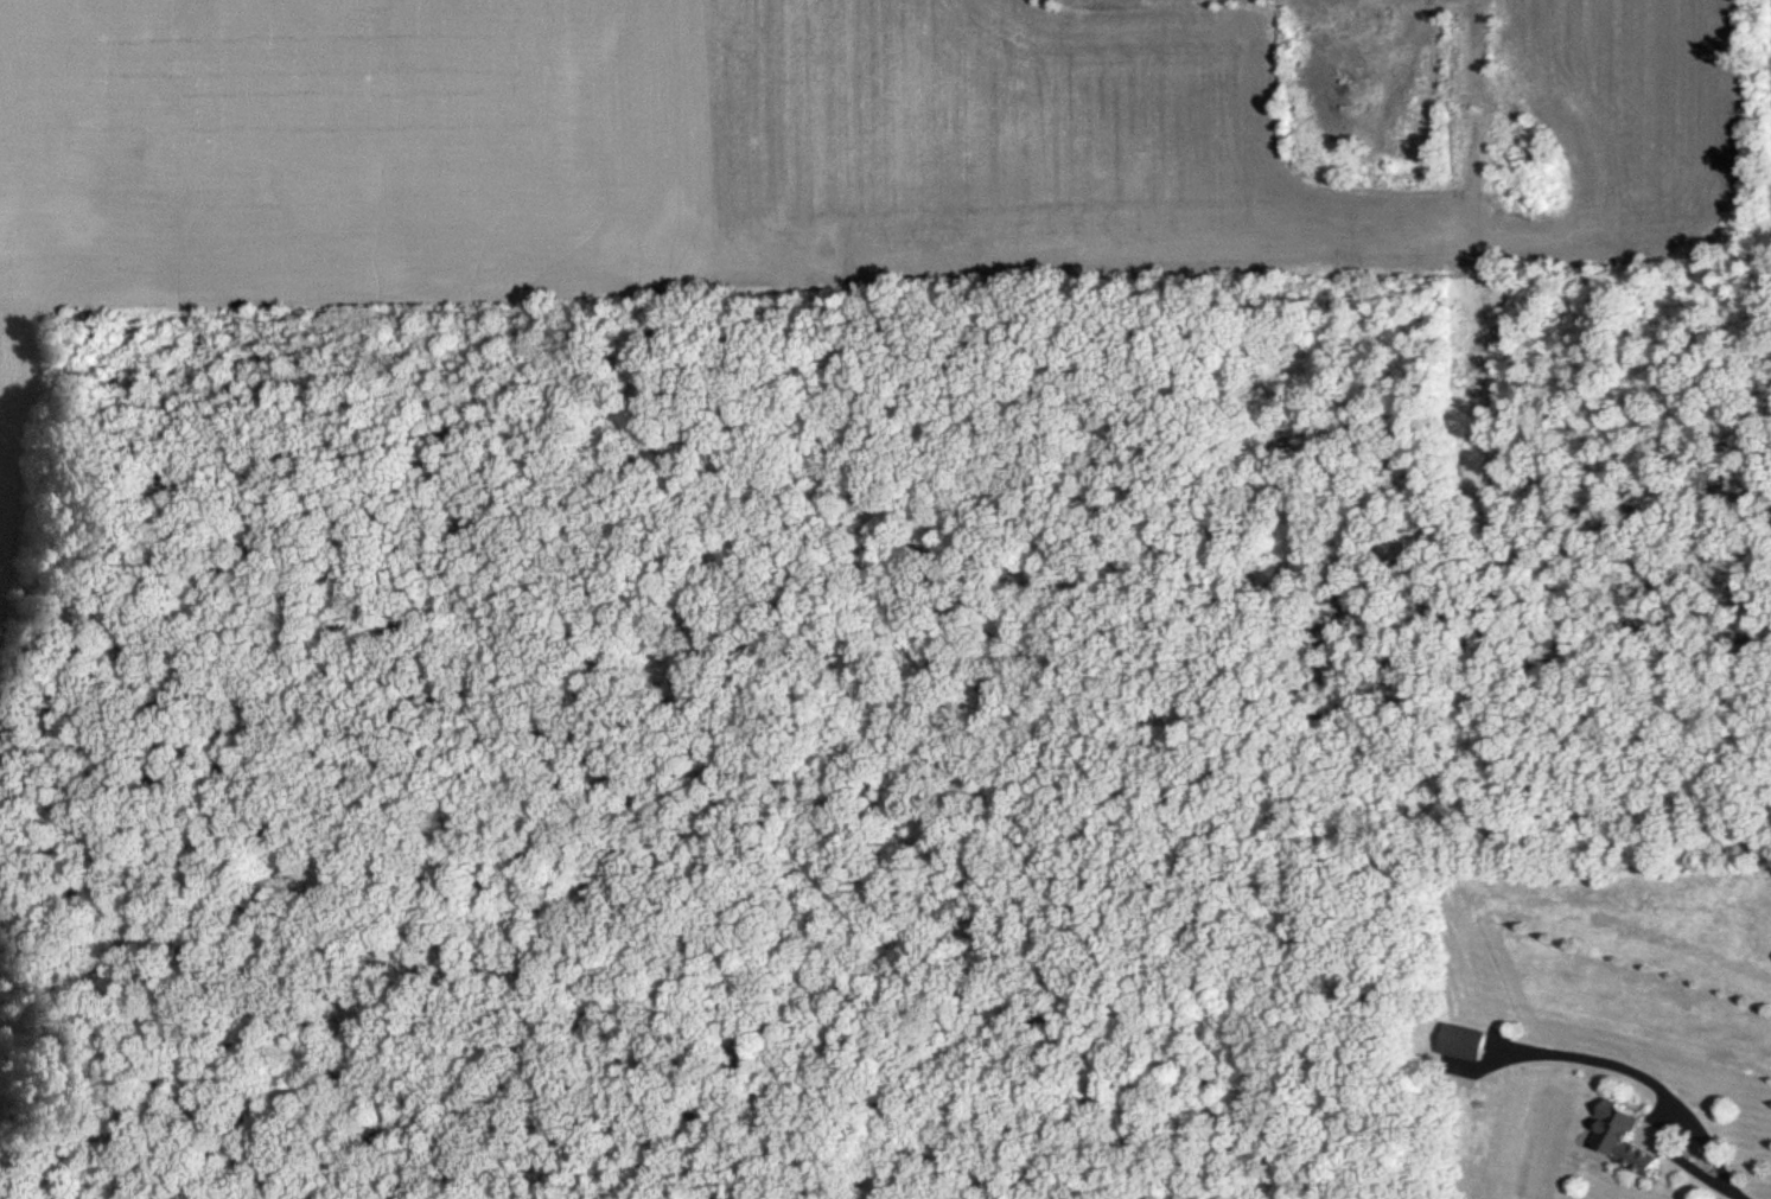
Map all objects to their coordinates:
building: (1472, 1042)
road: (1627, 1069)
building: (1631, 1137)
road: (1699, 1174)

